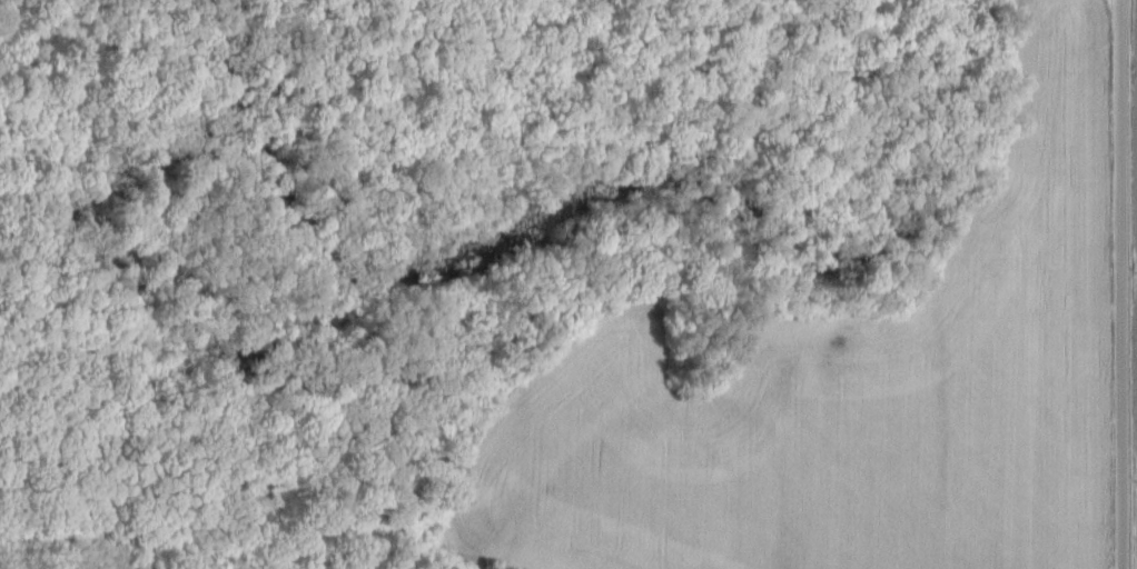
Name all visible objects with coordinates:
road: (1121, 284)

